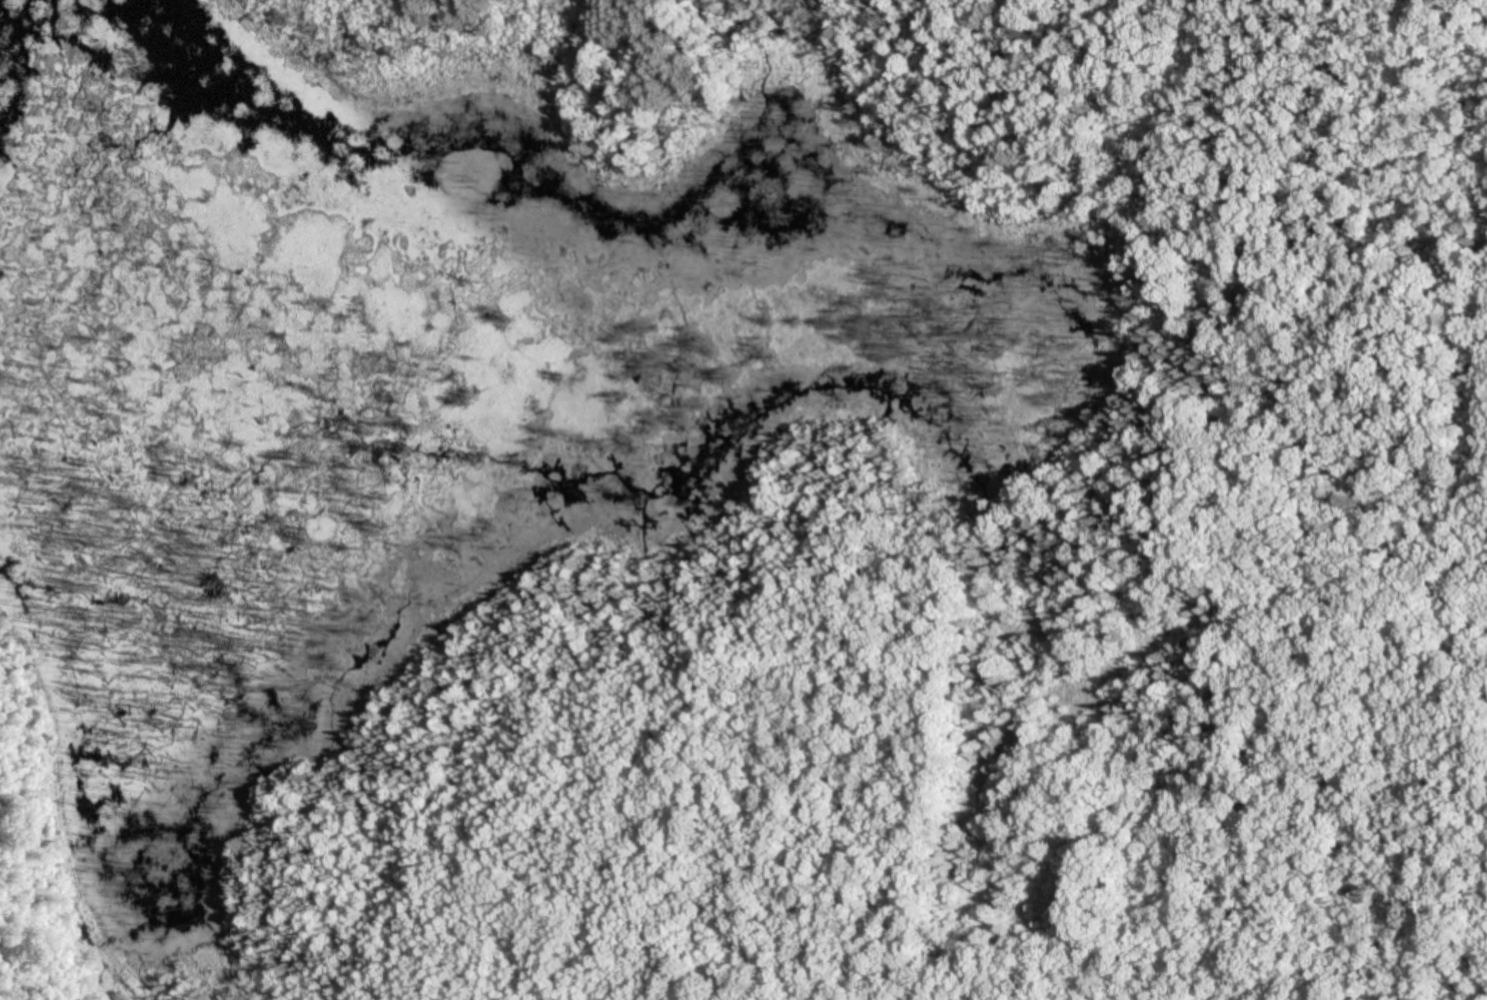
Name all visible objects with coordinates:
road: (0, 999)

